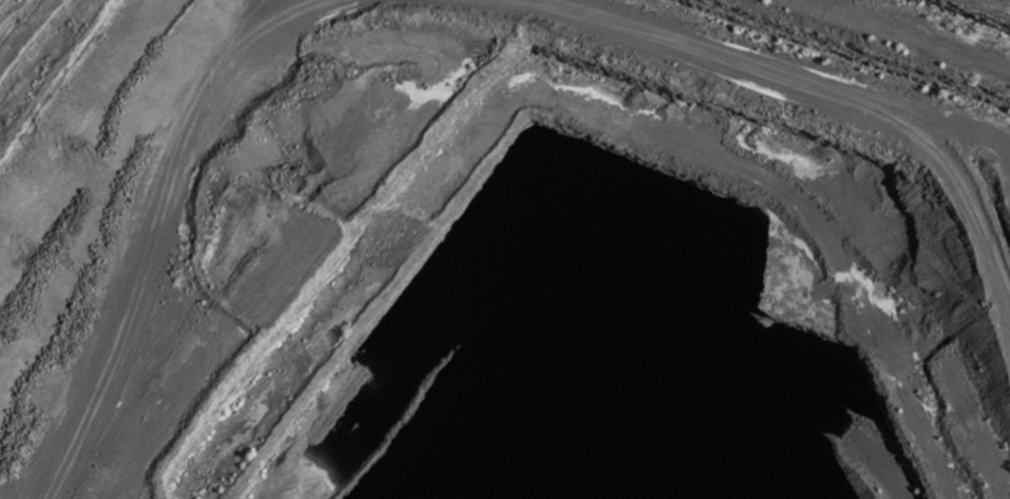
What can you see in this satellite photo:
road: (481, 36)
quarry: (505, 249)

